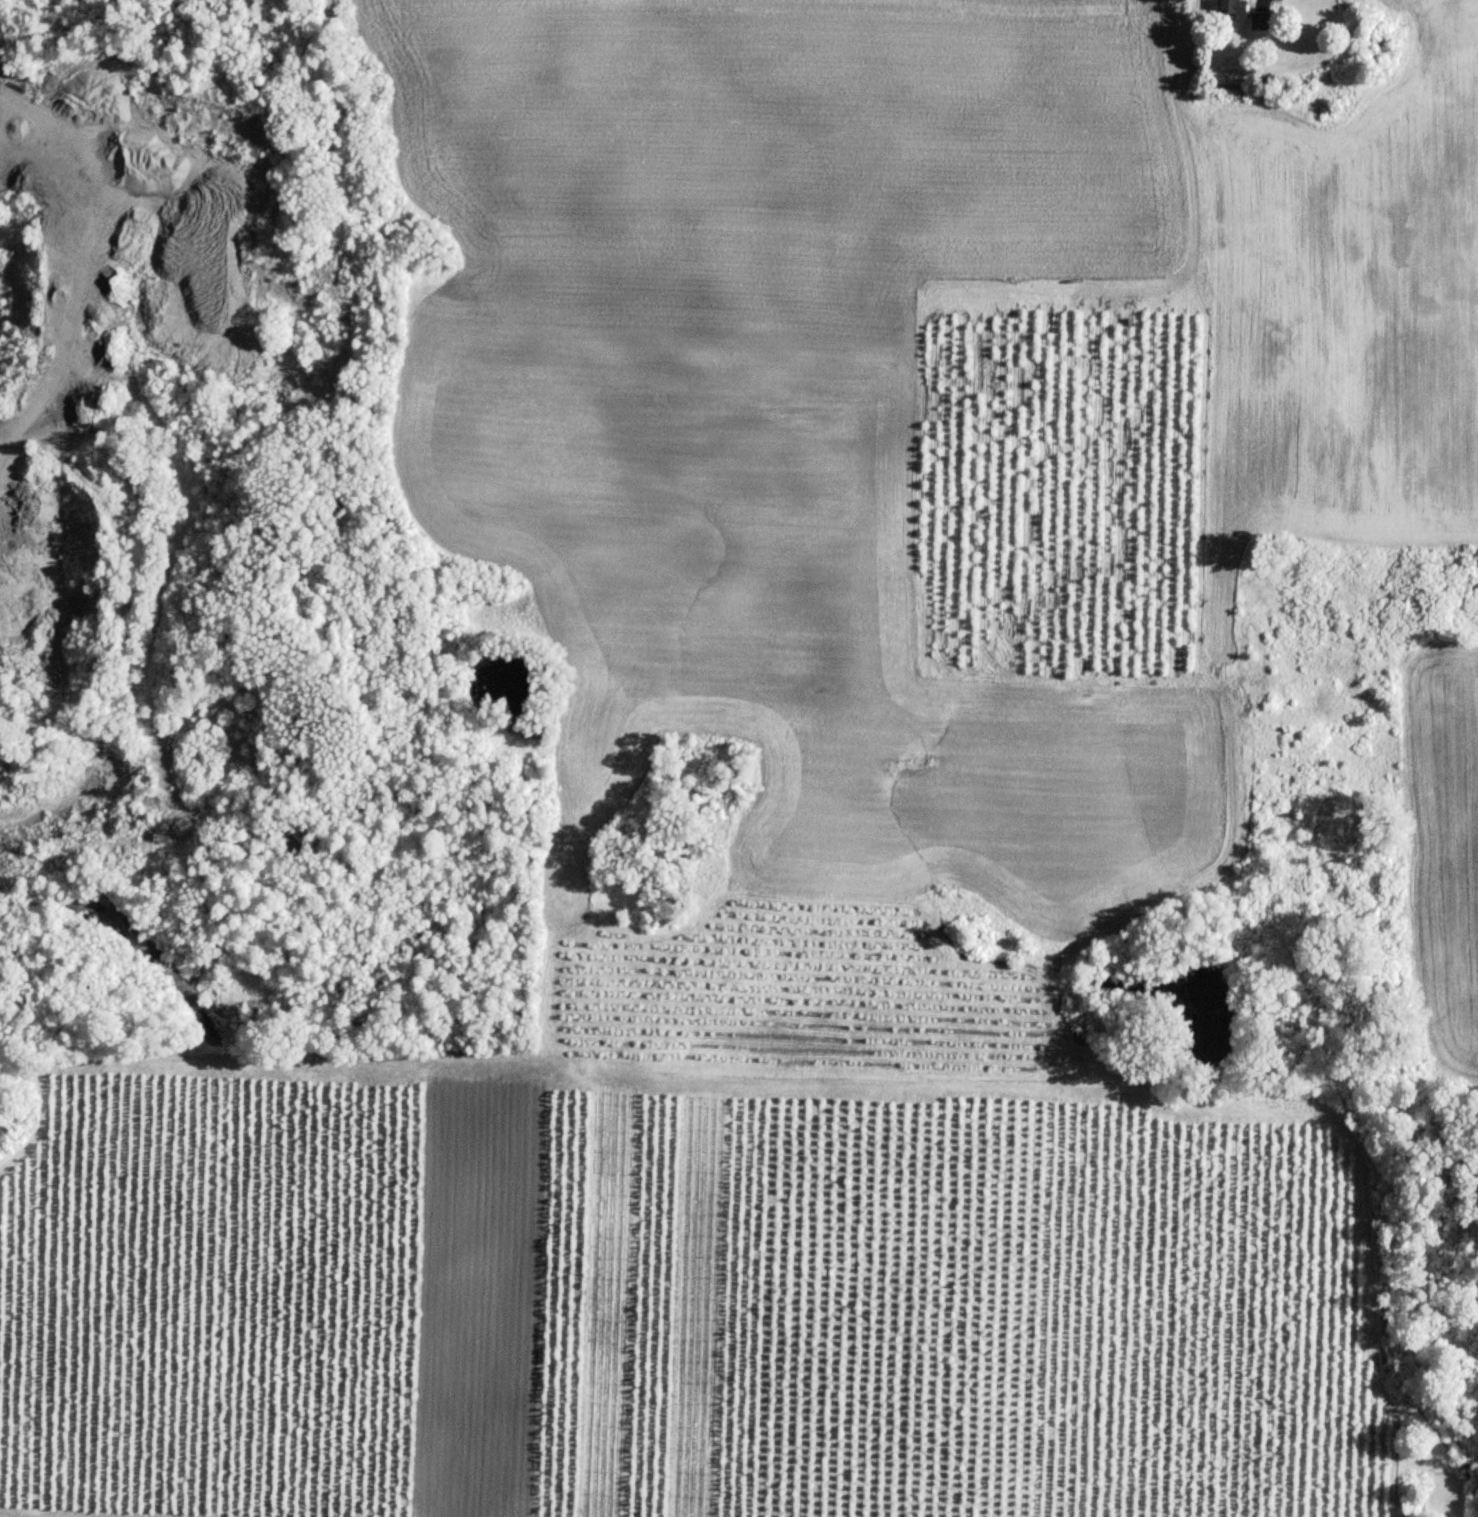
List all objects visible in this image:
building: (1246, 14)
road: (36, 221)
quarry: (233, 577)
road: (120, 1511)

